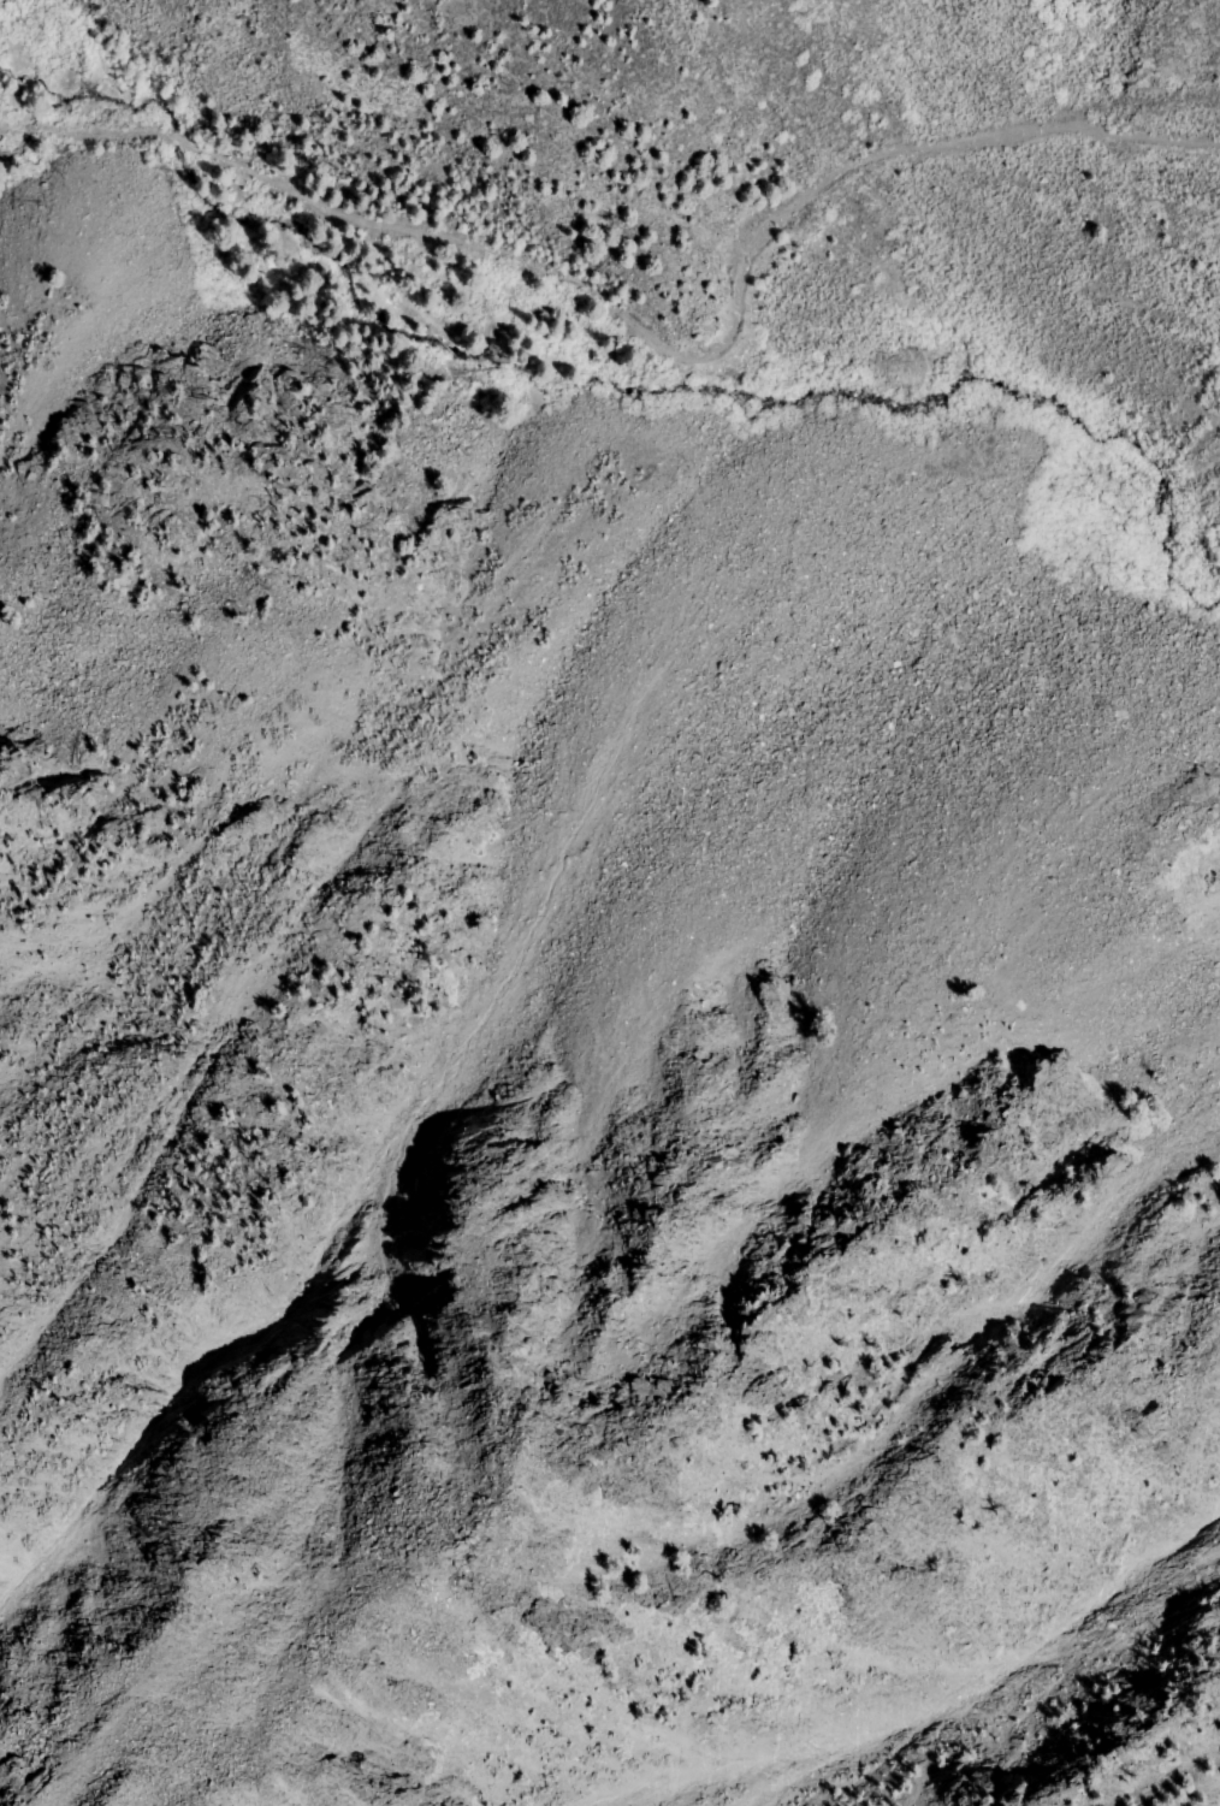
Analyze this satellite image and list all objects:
road: (646, 332)

